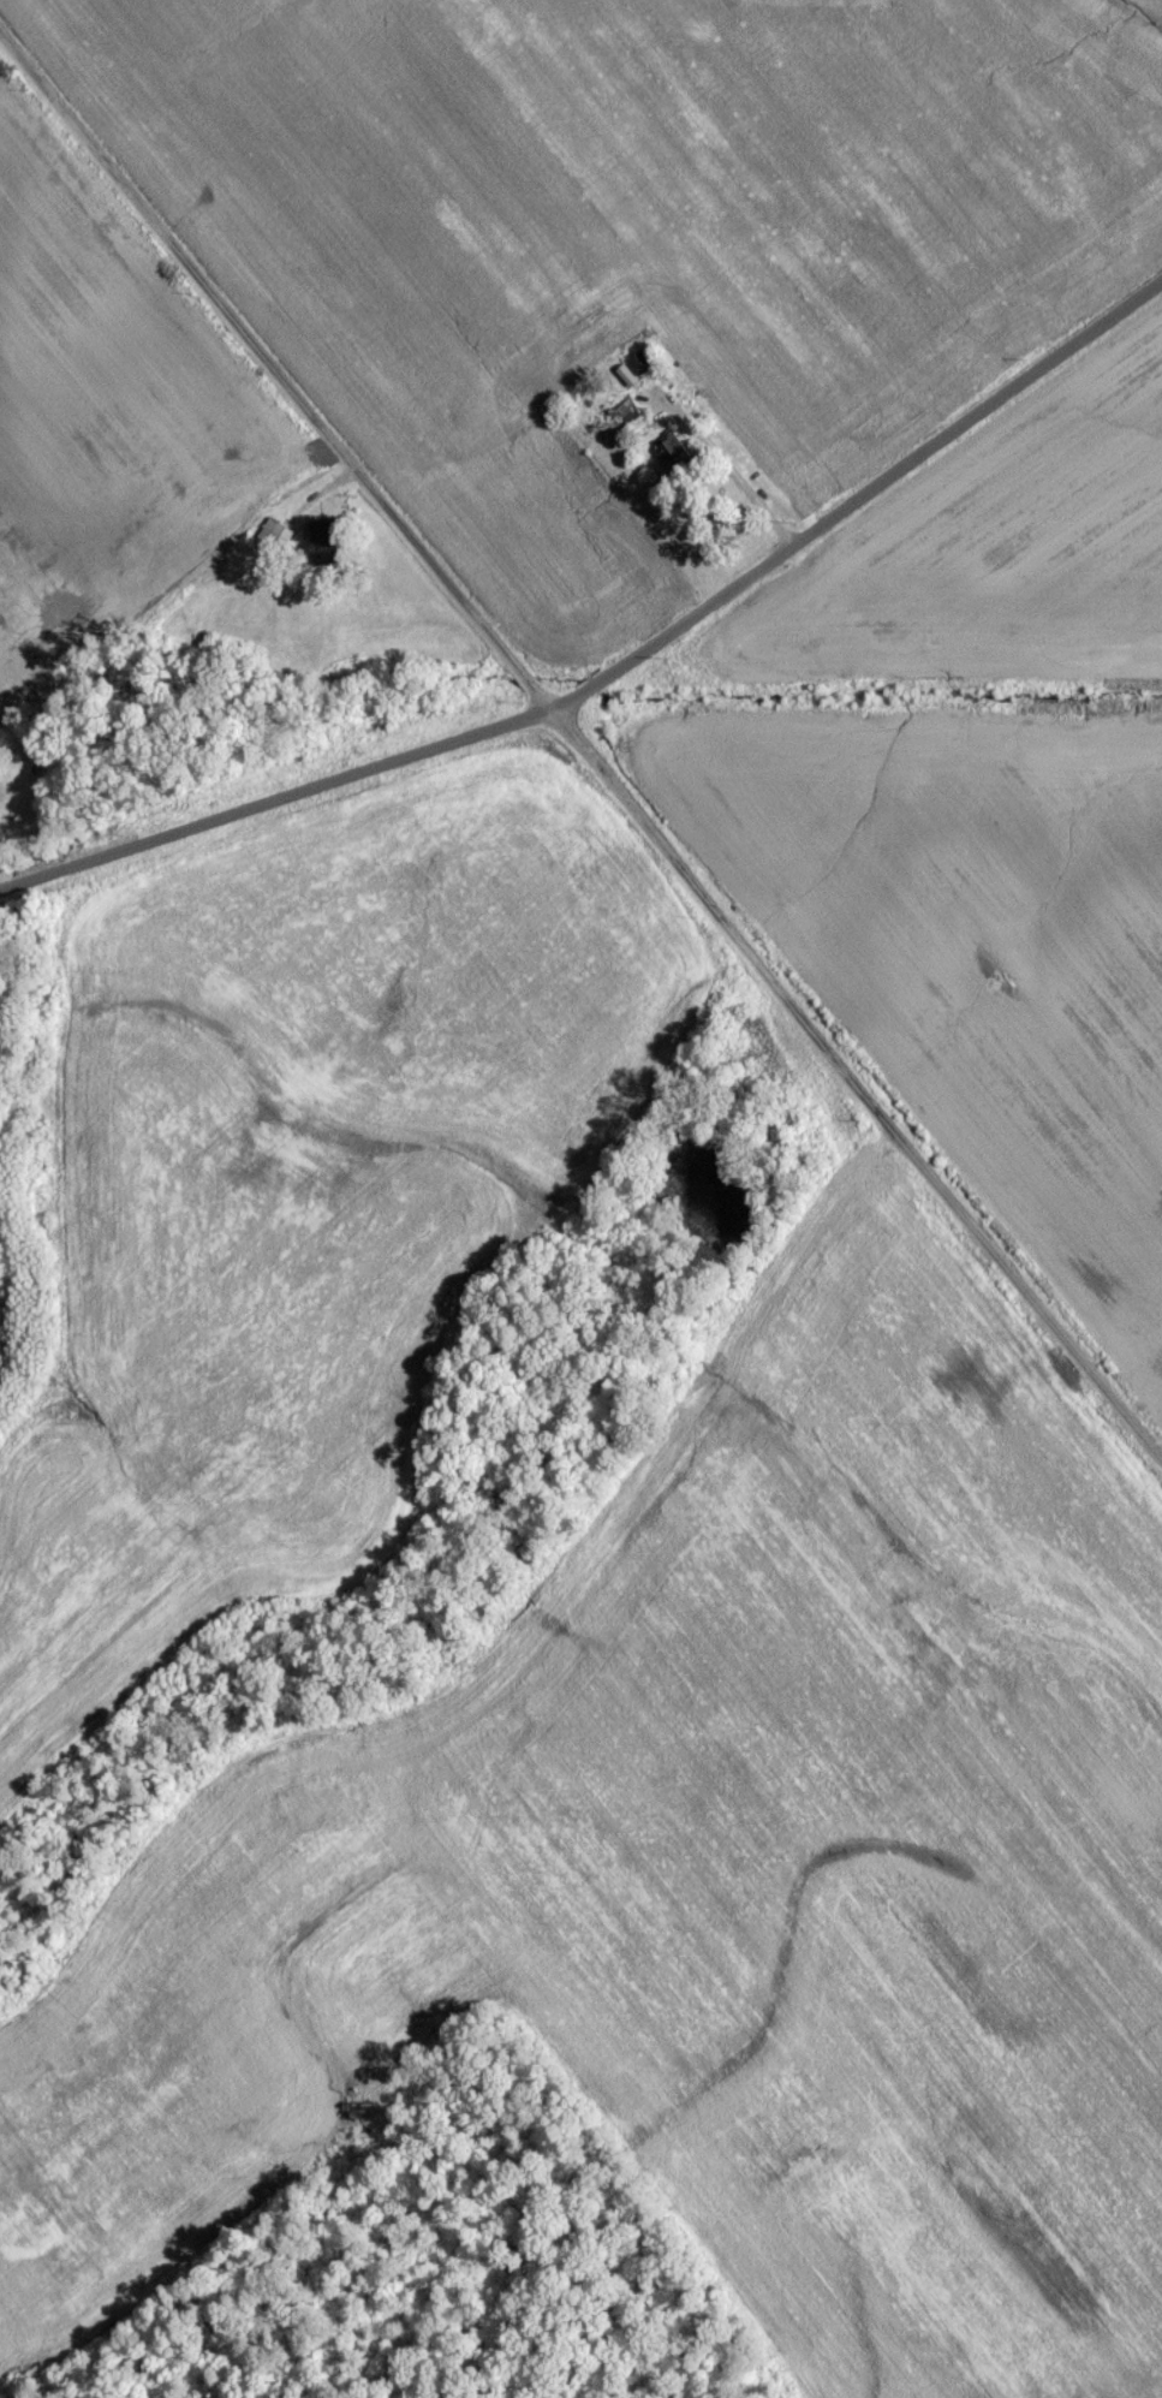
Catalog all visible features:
road: (619, 665)
road: (584, 752)

